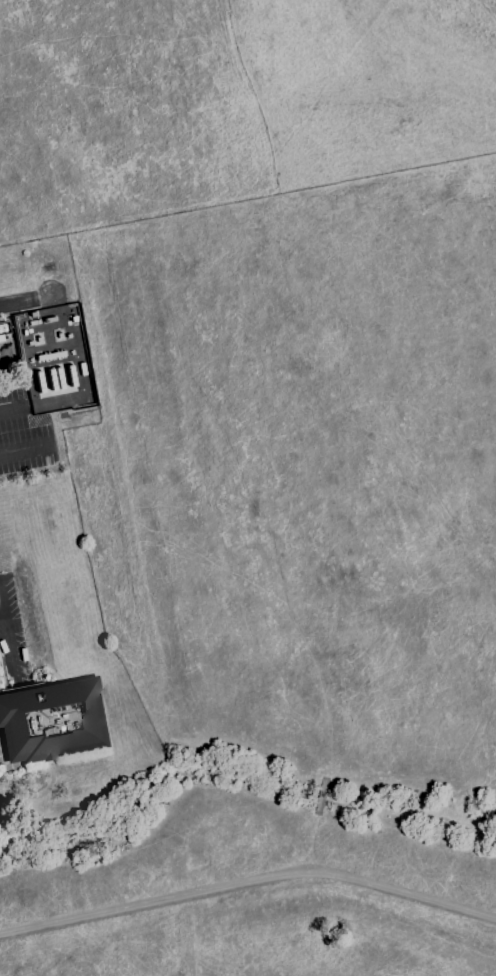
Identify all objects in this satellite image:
road: (16, 305)
building: (4, 329)
road: (15, 407)
road: (26, 449)
road: (3, 622)
road: (9, 635)
road: (3, 675)
building: (52, 720)
road: (249, 889)

